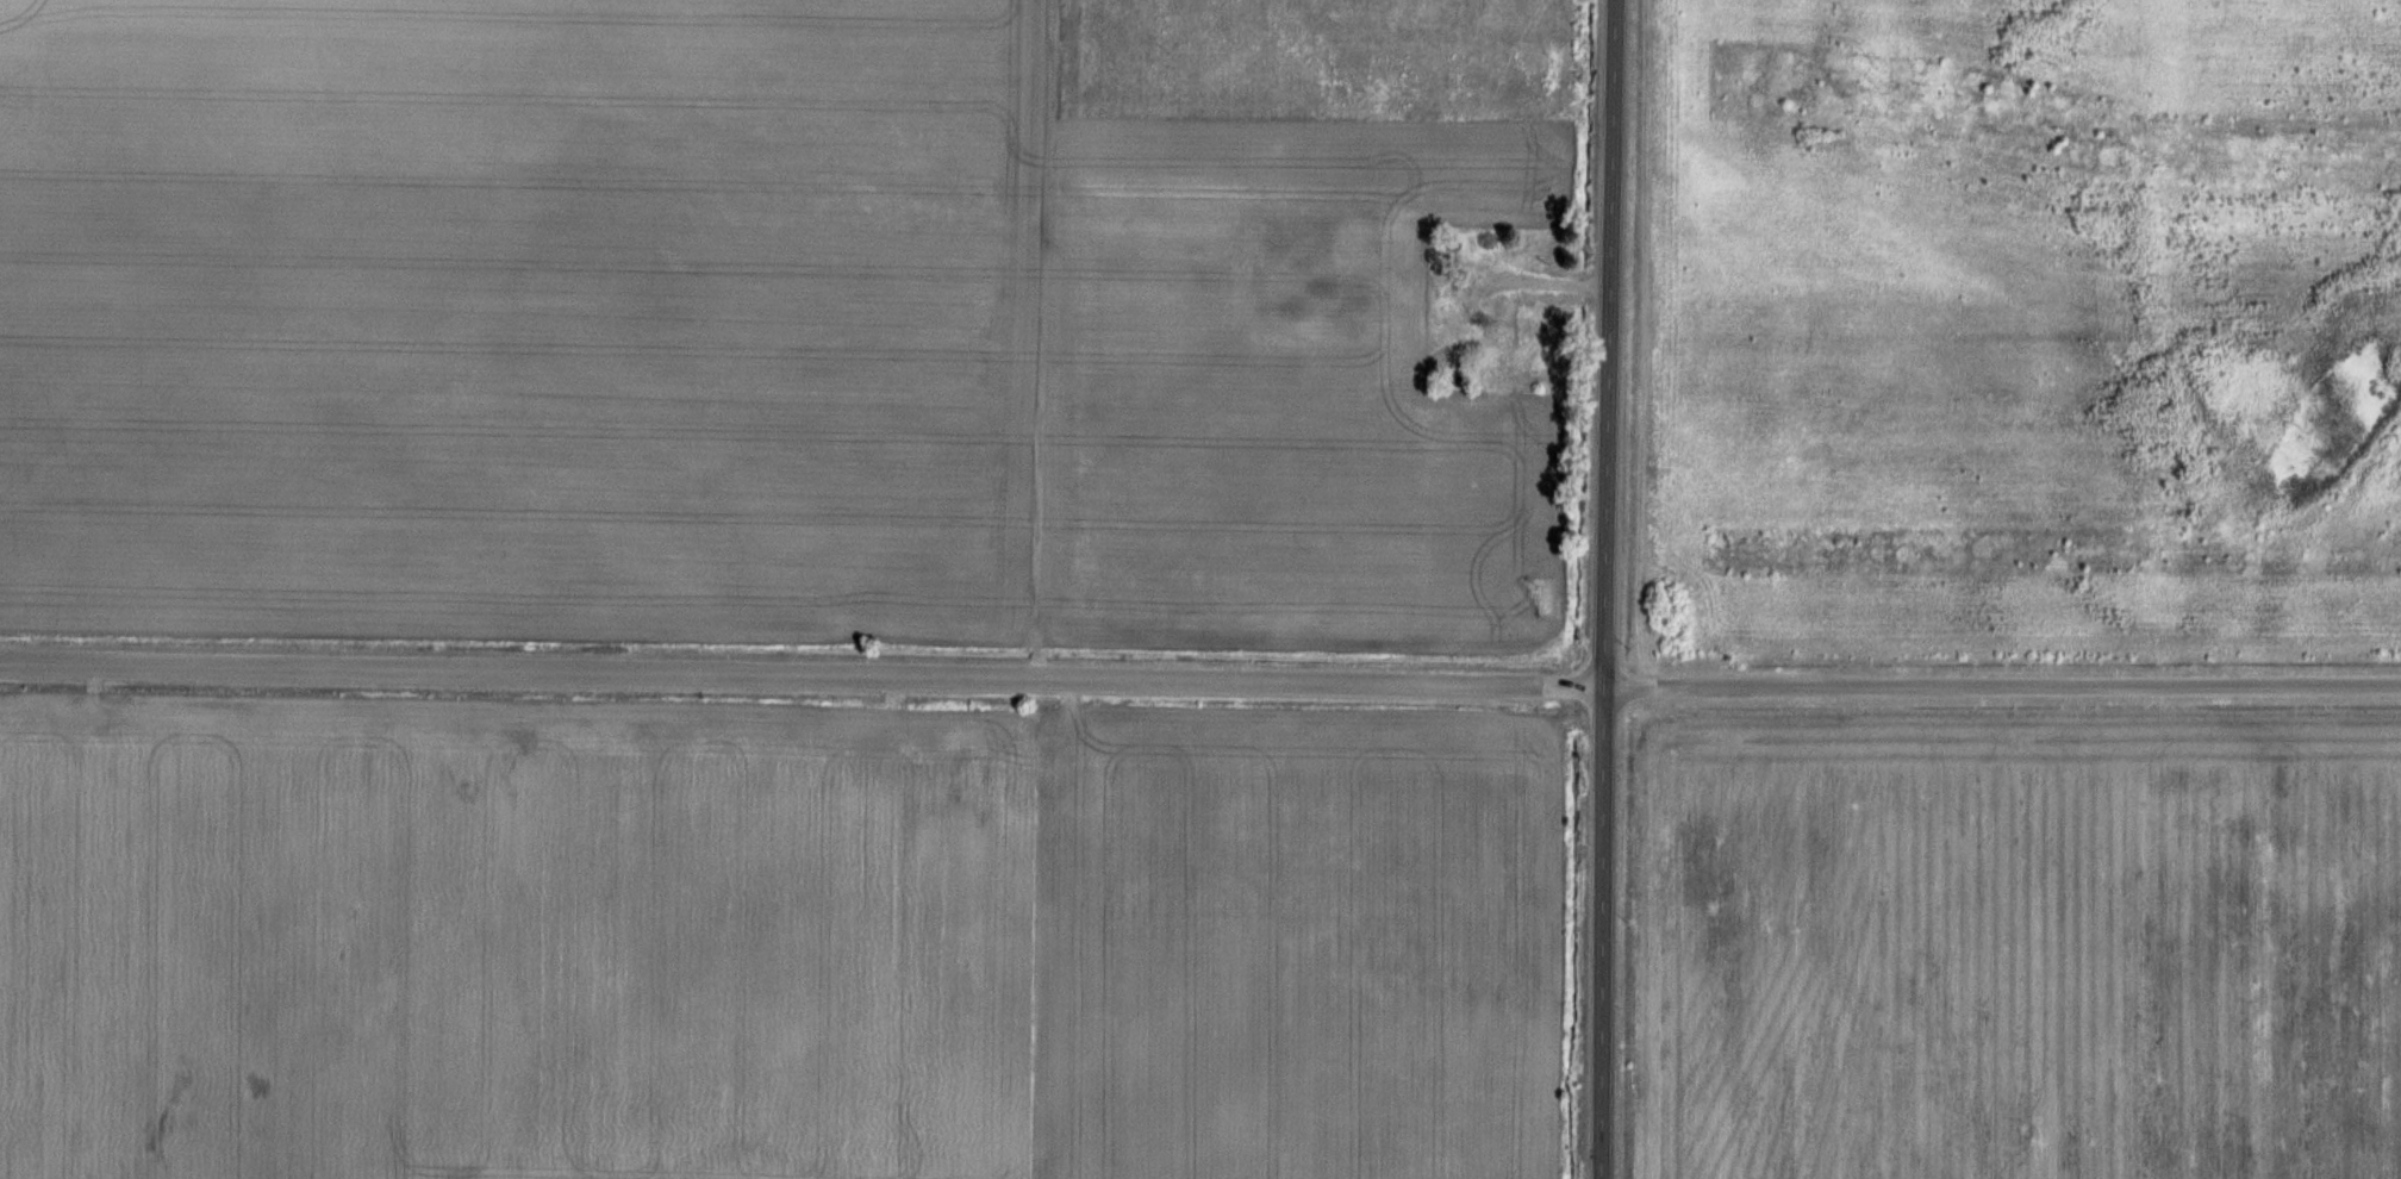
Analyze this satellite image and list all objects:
building: (1314, 277)
road: (1605, 588)
road: (1199, 680)

